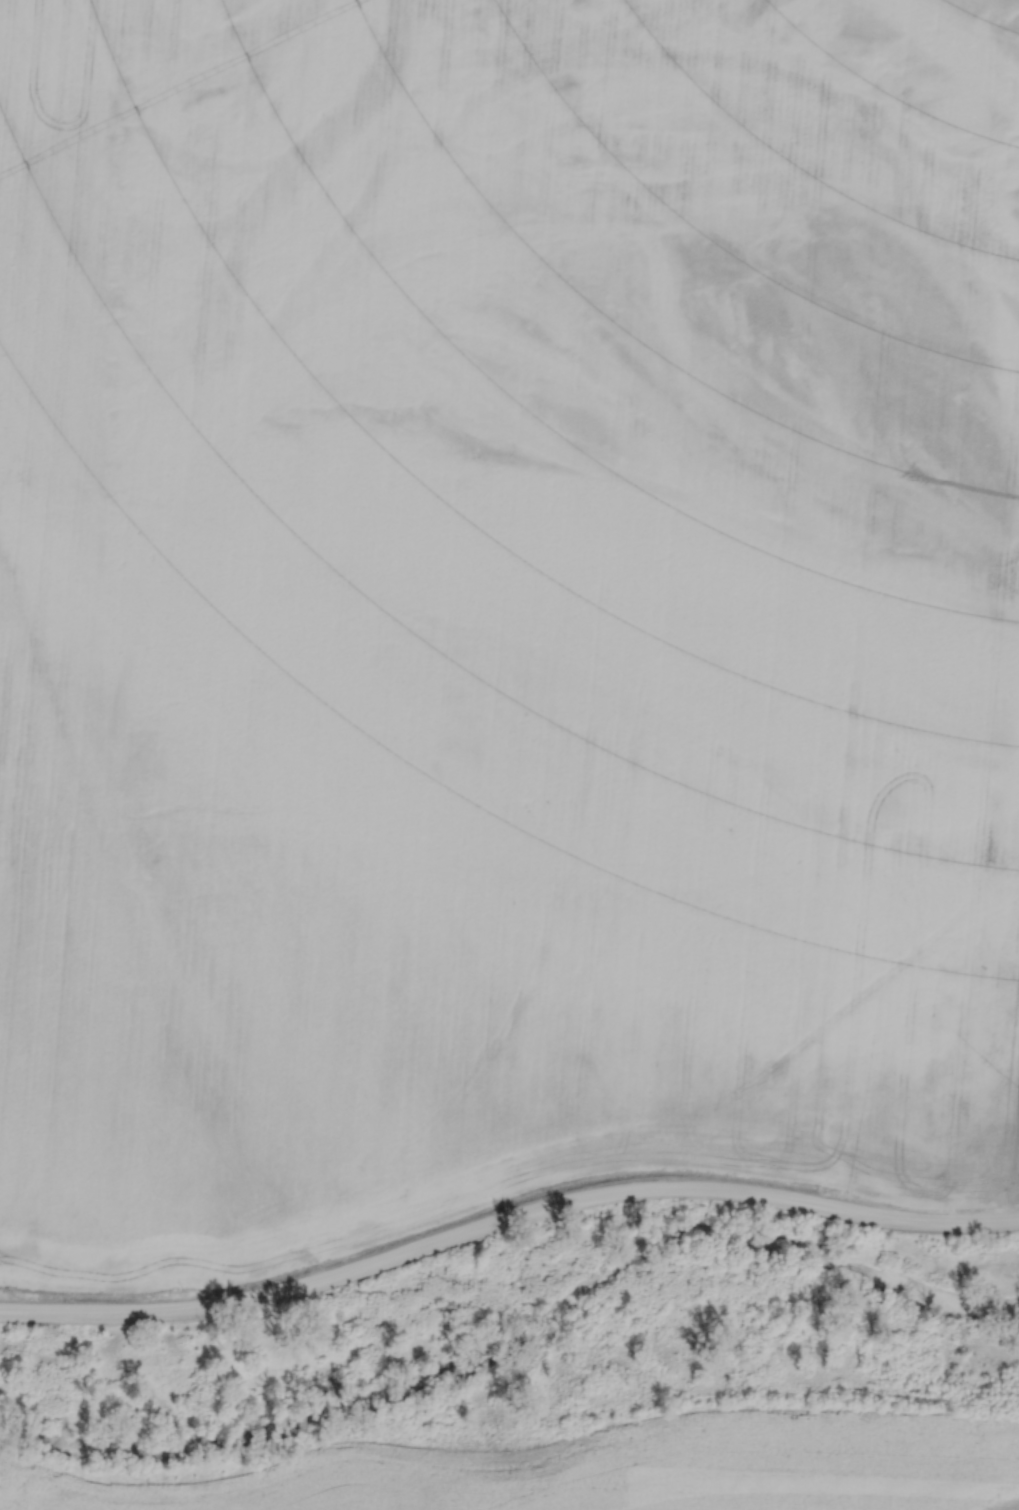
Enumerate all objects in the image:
road: (506, 1224)

